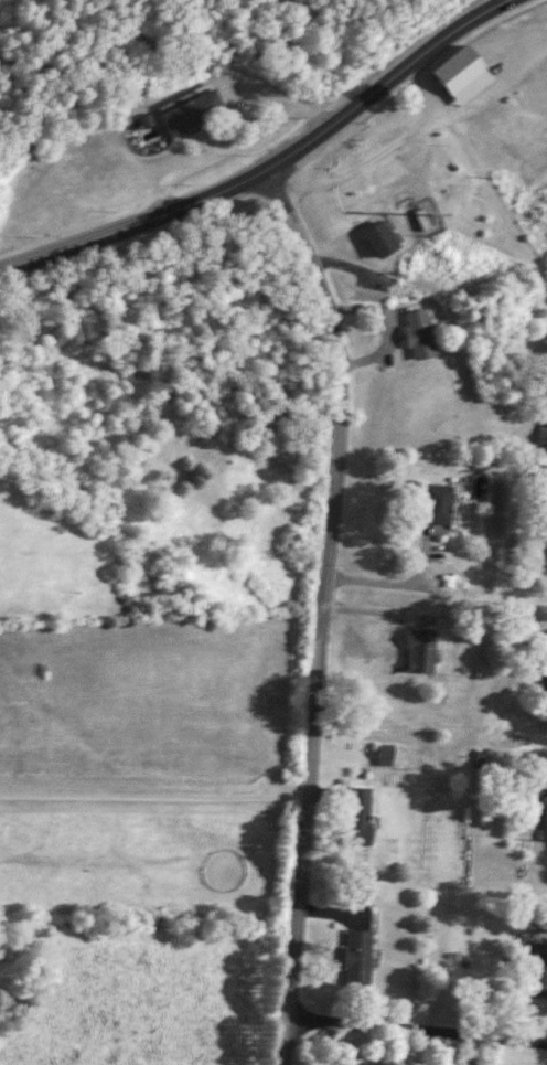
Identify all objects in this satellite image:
building: (459, 66)
road: (489, 86)
road: (283, 96)
building: (191, 108)
road: (221, 150)
road: (379, 151)
road: (269, 167)
building: (377, 237)
road: (387, 330)
building: (418, 333)
building: (543, 439)
building: (437, 503)
building: (546, 528)
road: (389, 583)
road: (322, 609)
building: (416, 652)
building: (544, 670)
building: (385, 754)
road: (153, 796)
building: (357, 816)
building: (545, 817)
building: (355, 958)
building: (536, 970)
road: (418, 1027)

